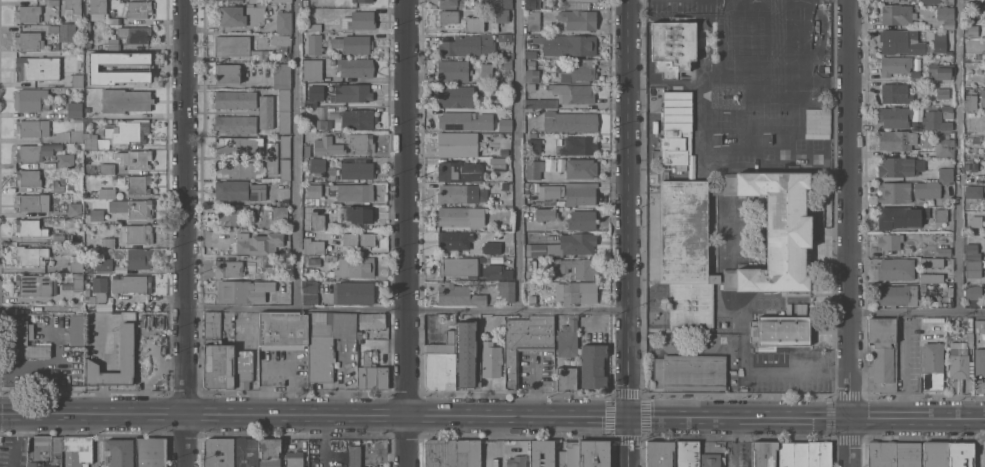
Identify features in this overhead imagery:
building: (583, 0)
building: (898, 0)
building: (944, 0)
building: (250, 1)
building: (281, 1)
building: (362, 1)
building: (931, 1)
building: (52, 2)
building: (305, 2)
building: (448, 2)
building: (950, 2)
building: (973, 3)
building: (496, 4)
building: (533, 4)
building: (288, 5)
building: (461, 5)
building: (74, 8)
building: (139, 8)
building: (98, 9)
building: (945, 12)
building: (28, 14)
building: (897, 14)
building: (242, 15)
building: (449, 16)
building: (499, 18)
building: (578, 19)
building: (115, 20)
building: (359, 20)
building: (533, 20)
building: (283, 22)
building: (474, 23)
building: (949, 24)
building: (88, 26)
building: (314, 26)
building: (54, 28)
building: (971, 30)
building: (67, 31)
building: (138, 34)
building: (88, 37)
building: (505, 37)
building: (280, 39)
building: (29, 40)
building: (902, 42)
building: (940, 42)
building: (353, 43)
building: (114, 44)
building: (315, 44)
building: (567, 44)
building: (469, 45)
building: (88, 46)
building: (673, 46)
building: (243, 48)
building: (530, 54)
building: (980, 56)
building: (505, 63)
building: (895, 65)
building: (37, 67)
building: (94, 67)
building: (136, 67)
building: (356, 67)
building: (312, 69)
building: (453, 70)
building: (486, 70)
building: (577, 70)
building: (941, 70)
building: (531, 72)
building: (227, 73)
building: (282, 75)
building: (77, 80)
building: (968, 84)
building: (530, 86)
building: (353, 93)
building: (573, 93)
building: (895, 93)
building: (943, 93)
building: (314, 95)
building: (456, 96)
building: (982, 97)
building: (236, 99)
building: (31, 100)
building: (126, 100)
building: (970, 102)
building: (541, 103)
building: (75, 109)
building: (266, 111)
building: (284, 111)
building: (504, 111)
building: (895, 116)
building: (938, 118)
building: (358, 119)
building: (465, 121)
building: (569, 121)
building: (236, 124)
building: (505, 124)
building: (32, 128)
building: (676, 128)
building: (128, 131)
building: (77, 132)
building: (945, 134)
building: (897, 140)
building: (976, 140)
building: (362, 142)
building: (90, 143)
building: (457, 144)
building: (239, 145)
building: (324, 145)
building: (534, 145)
building: (577, 145)
building: (285, 146)
building: (945, 147)
building: (36, 151)
road: (299, 154)
road: (521, 154)
road: (958, 155)
building: (272, 157)
building: (139, 159)
building: (66, 160)
building: (498, 164)
building: (91, 166)
building: (318, 166)
building: (896, 166)
building: (108, 168)
building: (580, 168)
building: (238, 169)
building: (534, 169)
building: (285, 170)
building: (357, 170)
building: (460, 171)
building: (946, 175)
building: (28, 177)
building: (502, 178)
building: (139, 184)
building: (57, 186)
building: (527, 188)
building: (927, 189)
building: (239, 190)
building: (314, 190)
building: (715, 190)
building: (895, 191)
building: (973, 191)
building: (355, 192)
building: (453, 192)
building: (107, 193)
building: (546, 194)
building: (77, 195)
building: (580, 195)
building: (32, 202)
building: (133, 207)
road: (630, 208)
building: (74, 209)
building: (969, 212)
building: (280, 213)
building: (359, 214)
building: (546, 214)
building: (940, 214)
building: (97, 215)
building: (459, 215)
building: (230, 216)
building: (903, 217)
building: (582, 219)
building: (318, 221)
building: (30, 226)
building: (775, 230)
building: (137, 233)
road: (185, 233)
road: (408, 233)
road: (852, 233)
building: (60, 238)
building: (350, 239)
building: (367, 239)
building: (456, 239)
building: (890, 241)
building: (108, 242)
building: (258, 242)
building: (577, 243)
building: (313, 246)
building: (491, 247)
building: (538, 249)
building: (286, 251)
building: (944, 251)
building: (972, 251)
building: (686, 253)
building: (32, 255)
building: (139, 258)
building: (482, 258)
building: (265, 260)
building: (314, 261)
building: (931, 261)
building: (75, 263)
building: (458, 266)
building: (356, 267)
building: (575, 267)
building: (228, 268)
building: (896, 268)
building: (973, 268)
building: (496, 272)
building: (930, 277)
building: (78, 281)
building: (132, 283)
building: (37, 284)
building: (507, 290)
building: (241, 291)
building: (310, 292)
building: (579, 292)
building: (973, 292)
building: (101, 293)
building: (353, 293)
building: (898, 294)
building: (459, 295)
building: (532, 299)
road: (316, 308)
road: (918, 310)
building: (129, 315)
building: (372, 320)
building: (213, 324)
building: (979, 325)
building: (283, 329)
building: (78, 330)
building: (781, 330)
building: (361, 333)
building: (568, 339)
building: (22, 340)
building: (127, 340)
building: (326, 341)
building: (525, 342)
building: (883, 354)
building: (442, 355)
building: (467, 355)
building: (492, 361)
building: (980, 361)
building: (593, 366)
building: (933, 366)
building: (957, 366)
building: (227, 367)
road: (800, 368)
building: (690, 372)
building: (372, 374)
building: (566, 378)
building: (979, 386)
road: (534, 389)
road: (492, 416)
traffic signals: (632, 417)
road: (94, 440)
road: (632, 442)
building: (45, 451)
building: (77, 451)
building: (119, 452)
building: (152, 452)
building: (219, 452)
building: (247, 452)
building: (270, 452)
building: (354, 453)
building: (441, 453)
building: (468, 453)
building: (542, 453)
building: (573, 454)
building: (595, 454)
building: (661, 454)
building: (687, 454)
building: (765, 454)
building: (804, 454)
building: (882, 454)
building: (908, 454)
building: (935, 454)
building: (960, 455)
building: (560, 458)
building: (294, 459)
building: (710, 460)
building: (517, 461)

